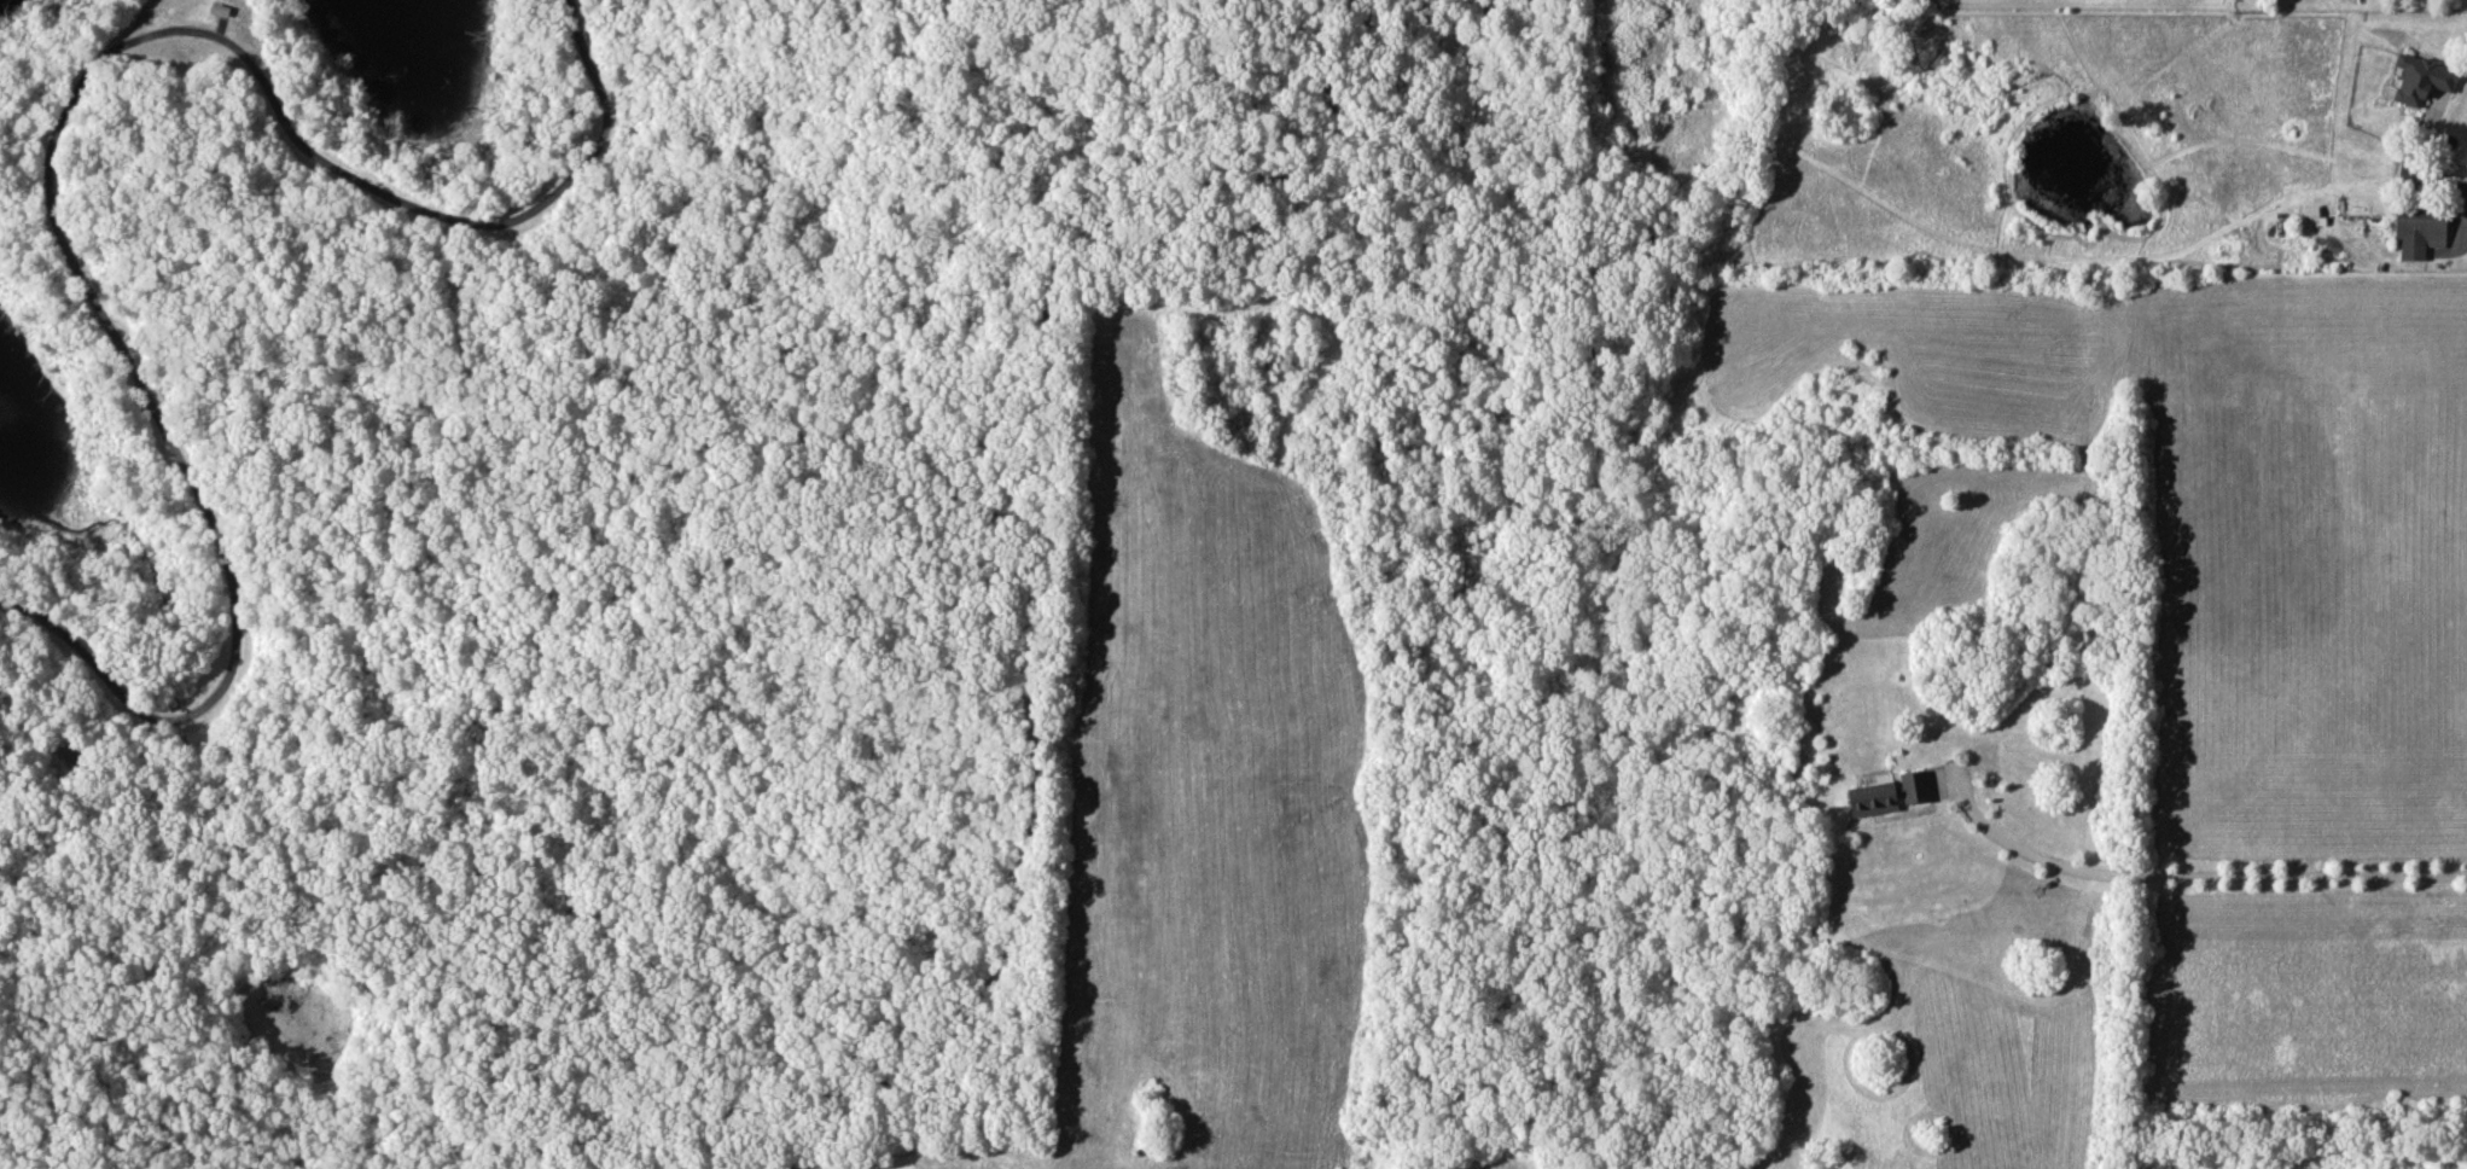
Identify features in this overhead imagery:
road: (1454, 41)
building: (2416, 77)
road: (53, 135)
road: (2428, 178)
building: (2308, 215)
building: (2416, 232)
crop: (2310, 566)
park: (787, 589)
building: (1887, 793)
road: (1025, 818)
road: (2193, 874)

